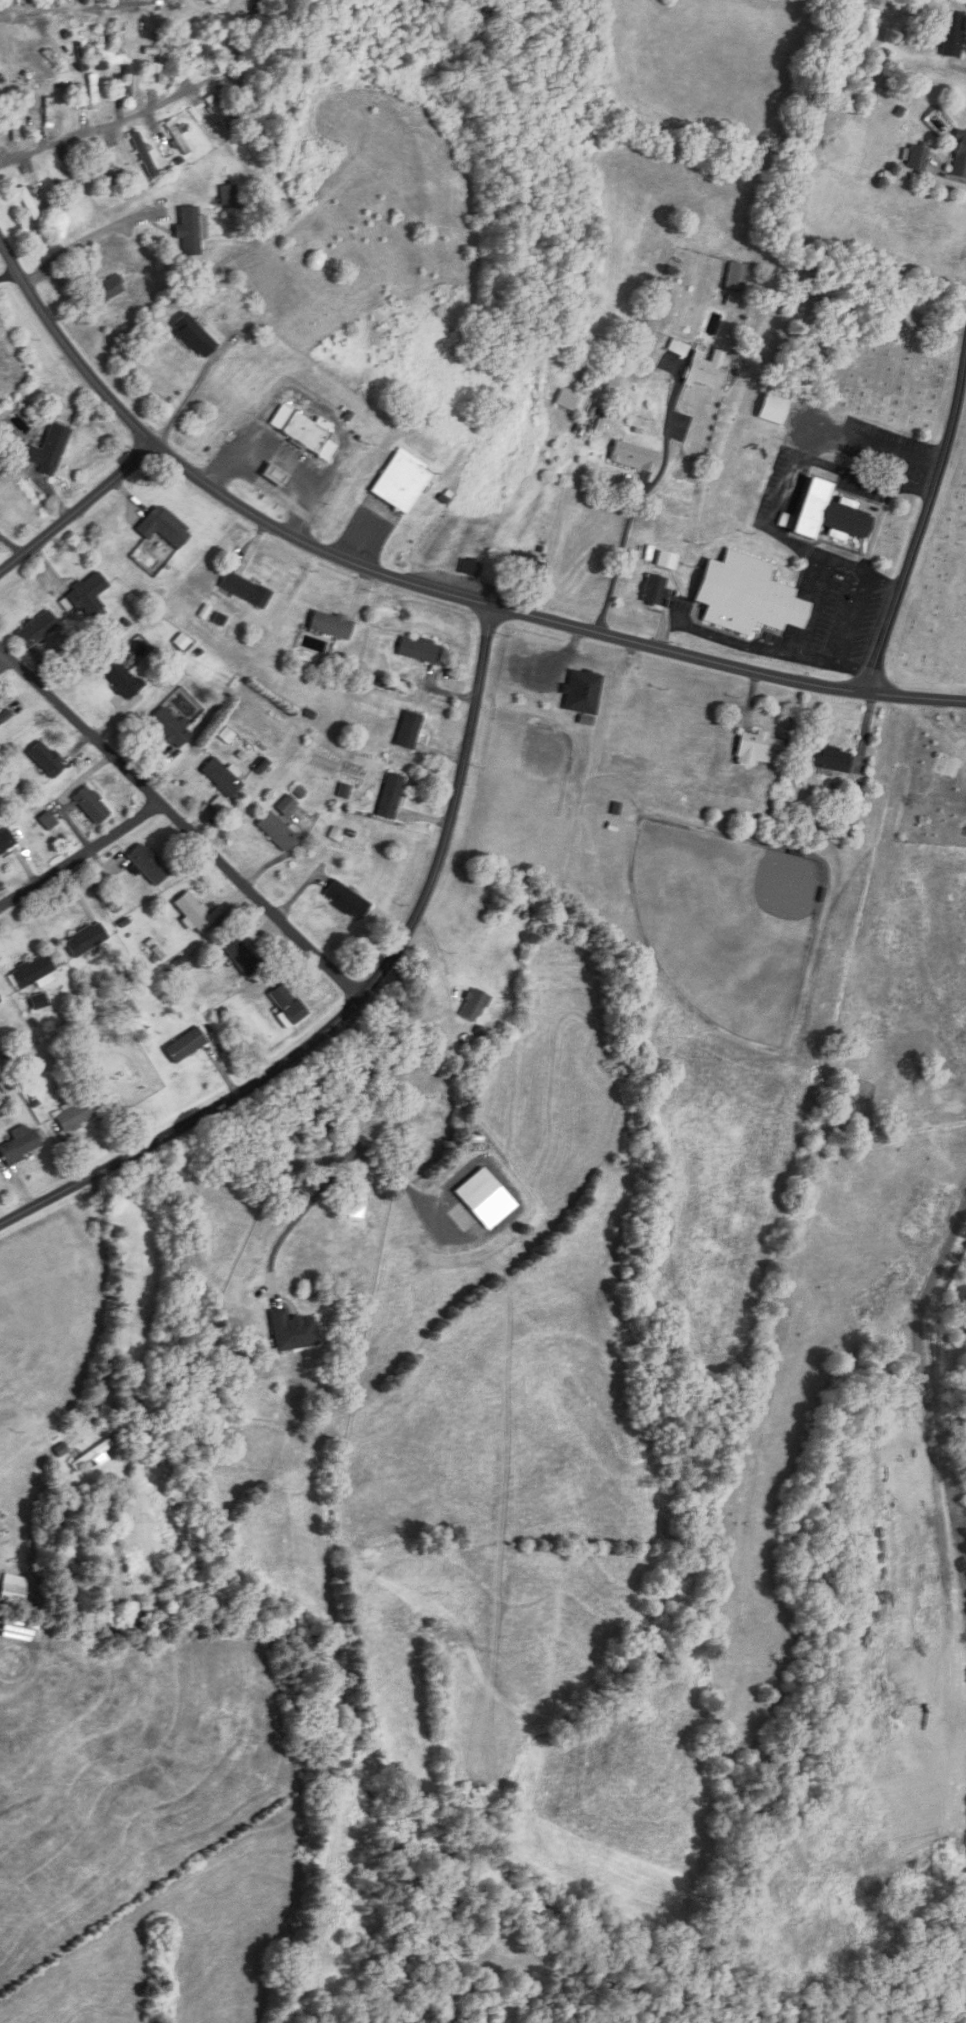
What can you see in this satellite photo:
road: (70, 11)
building: (117, 32)
building: (952, 34)
building: (233, 35)
building: (90, 43)
building: (162, 65)
road: (961, 67)
building: (127, 81)
building: (93, 92)
building: (48, 112)
building: (220, 113)
building: (15, 128)
road: (98, 129)
building: (177, 137)
building: (142, 154)
building: (959, 155)
building: (916, 158)
building: (108, 166)
building: (28, 202)
building: (190, 230)
road: (84, 241)
road: (8, 276)
building: (736, 276)
building: (109, 288)
building: (611, 318)
park: (866, 338)
building: (176, 343)
building: (703, 370)
building: (566, 400)
building: (301, 432)
building: (47, 450)
building: (634, 457)
road: (863, 476)
road: (789, 478)
building: (400, 482)
road: (77, 508)
building: (825, 514)
road: (633, 520)
road: (921, 522)
building: (163, 527)
building: (666, 561)
building: (527, 566)
road: (422, 585)
building: (244, 590)
building: (655, 592)
building: (88, 595)
building: (746, 596)
park: (940, 597)
road: (854, 618)
building: (329, 625)
building: (35, 629)
road: (664, 631)
building: (418, 649)
road: (769, 650)
building: (120, 679)
building: (581, 693)
building: (169, 727)
building: (407, 731)
building: (757, 749)
building: (44, 759)
building: (828, 759)
building: (220, 777)
building: (389, 796)
building: (90, 805)
building: (285, 806)
building: (47, 821)
road: (179, 825)
building: (276, 832)
building: (5, 841)
road: (81, 859)
building: (146, 864)
building: (344, 900)
building: (192, 912)
park: (727, 923)
building: (84, 940)
building: (239, 956)
building: (32, 974)
road: (358, 1000)
building: (37, 1002)
building: (285, 1006)
building: (472, 1006)
building: (185, 1046)
building: (75, 1116)
building: (18, 1146)
road: (337, 1168)
road: (396, 1173)
building: (354, 1203)
road: (120, 1306)
building: (291, 1330)
road: (919, 1357)
building: (12, 1588)
building: (134, 1618)

